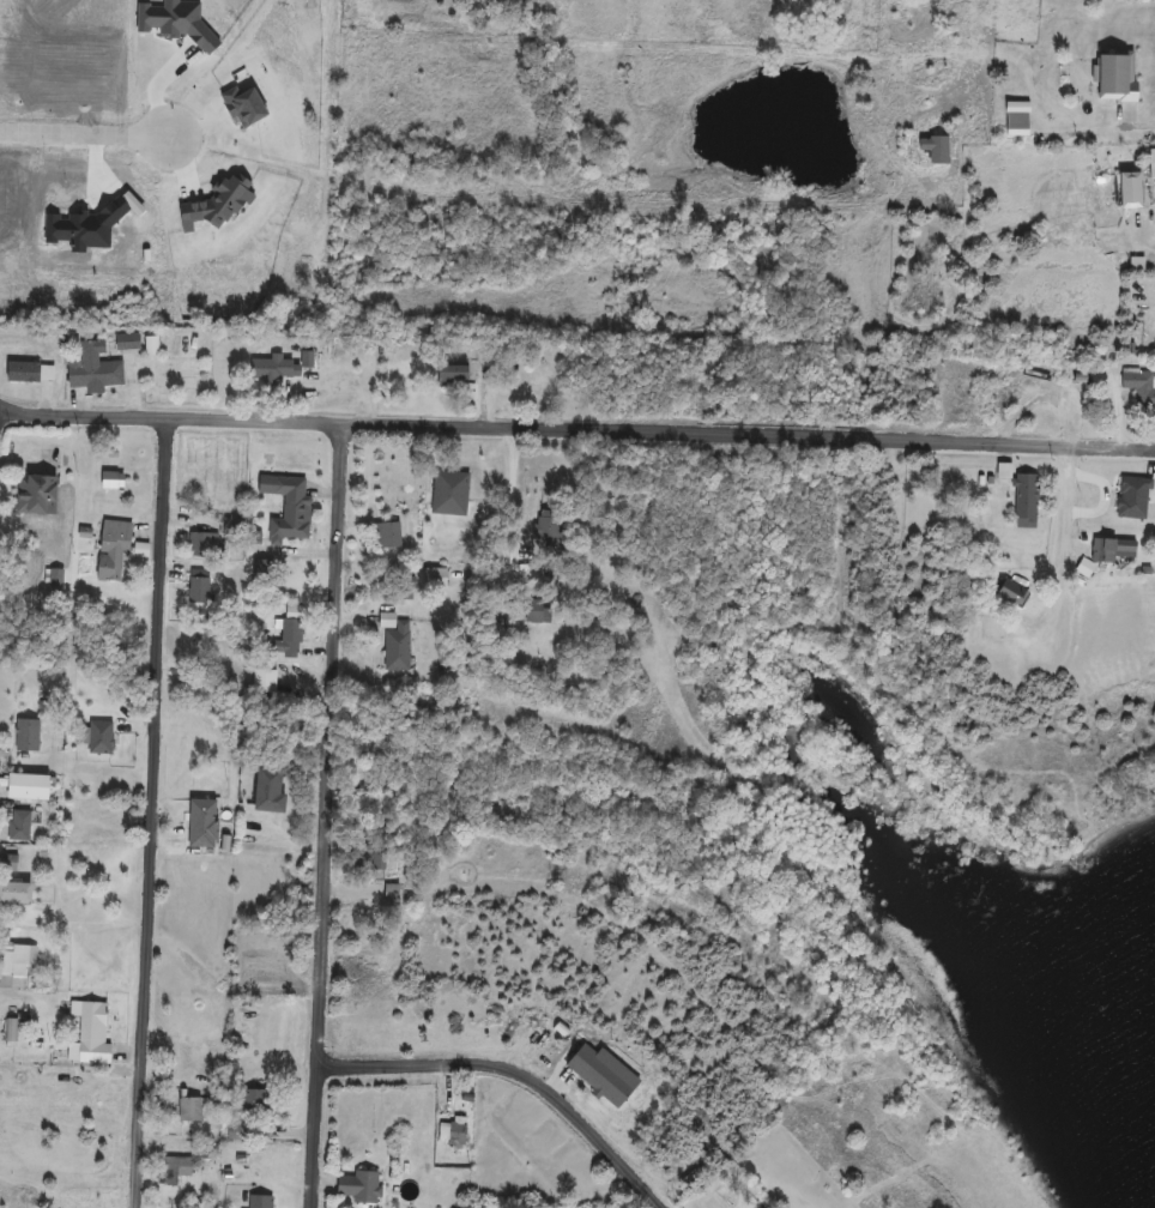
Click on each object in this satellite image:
building: (1118, 77)
road: (1139, 122)
building: (1017, 125)
road: (85, 129)
building: (1132, 191)
road: (1142, 230)
building: (128, 343)
building: (267, 368)
building: (95, 369)
building: (30, 373)
building: (454, 373)
building: (1145, 389)
road: (576, 430)
building: (114, 479)
building: (443, 491)
building: (37, 493)
building: (1027, 496)
building: (295, 503)
building: (234, 524)
road: (515, 525)
building: (546, 530)
building: (392, 533)
building: (206, 543)
building: (1120, 549)
building: (114, 550)
building: (1086, 567)
building: (56, 575)
building: (437, 576)
road: (1058, 579)
building: (200, 586)
building: (1012, 592)
building: (294, 634)
building: (399, 646)
building: (28, 735)
building: (101, 737)
building: (29, 786)
building: (270, 789)
road: (152, 815)
road: (323, 819)
building: (204, 822)
building: (20, 825)
building: (8, 862)
building: (17, 892)
building: (392, 893)
building: (18, 960)
building: (260, 970)
building: (92, 1032)
road: (512, 1076)
building: (191, 1109)
building: (250, 1112)
building: (454, 1132)
building: (177, 1167)
building: (359, 1186)
building: (261, 1201)

